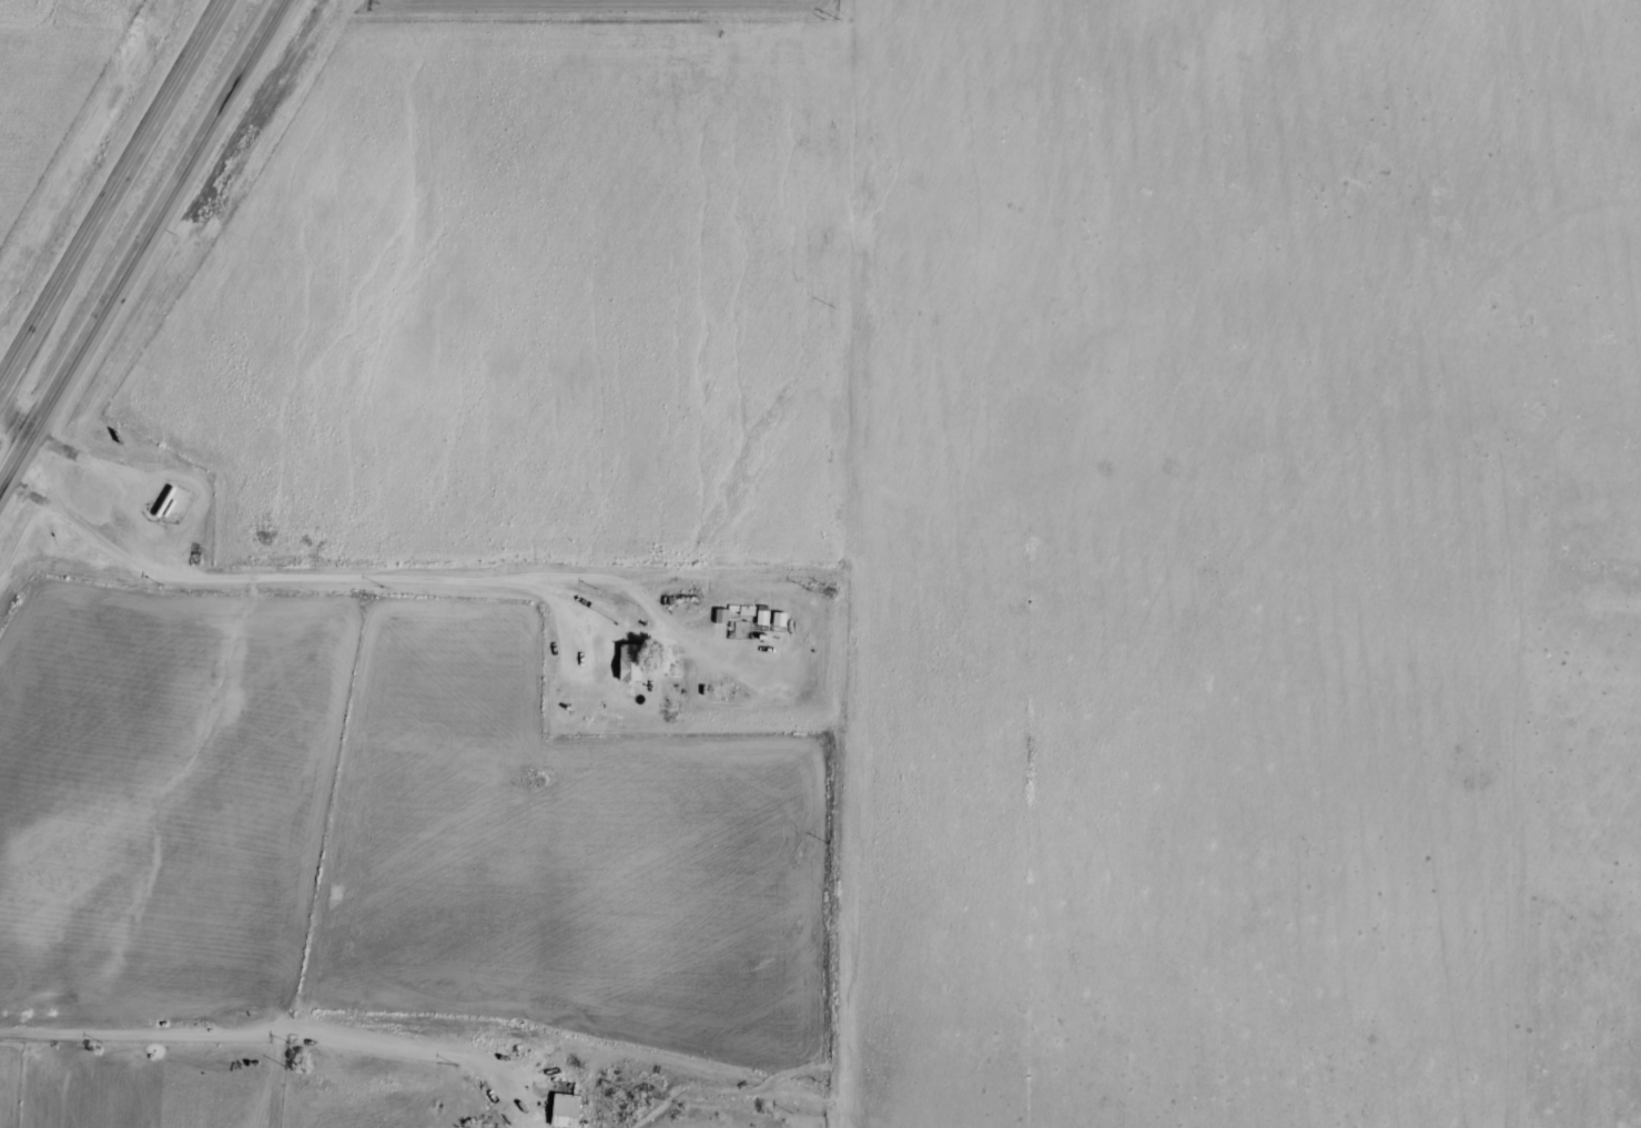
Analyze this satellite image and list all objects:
road: (113, 196)
road: (154, 217)
road: (14, 425)
road: (14, 461)
road: (31, 469)
road: (110, 472)
road: (23, 542)
road: (831, 563)
building: (721, 617)
building: (763, 618)
building: (631, 663)
road: (583, 833)
road: (548, 984)
road: (517, 1096)
building: (561, 1110)

